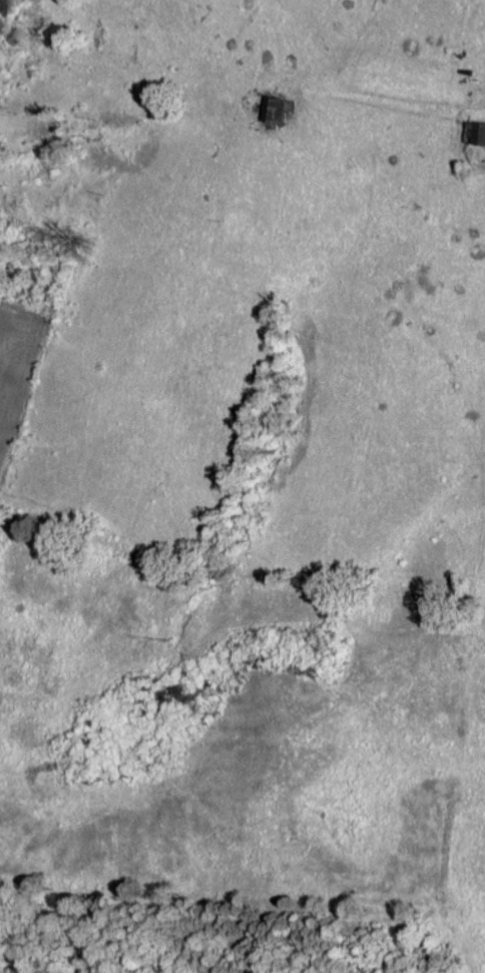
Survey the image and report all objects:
building: (277, 108)
building: (477, 132)

